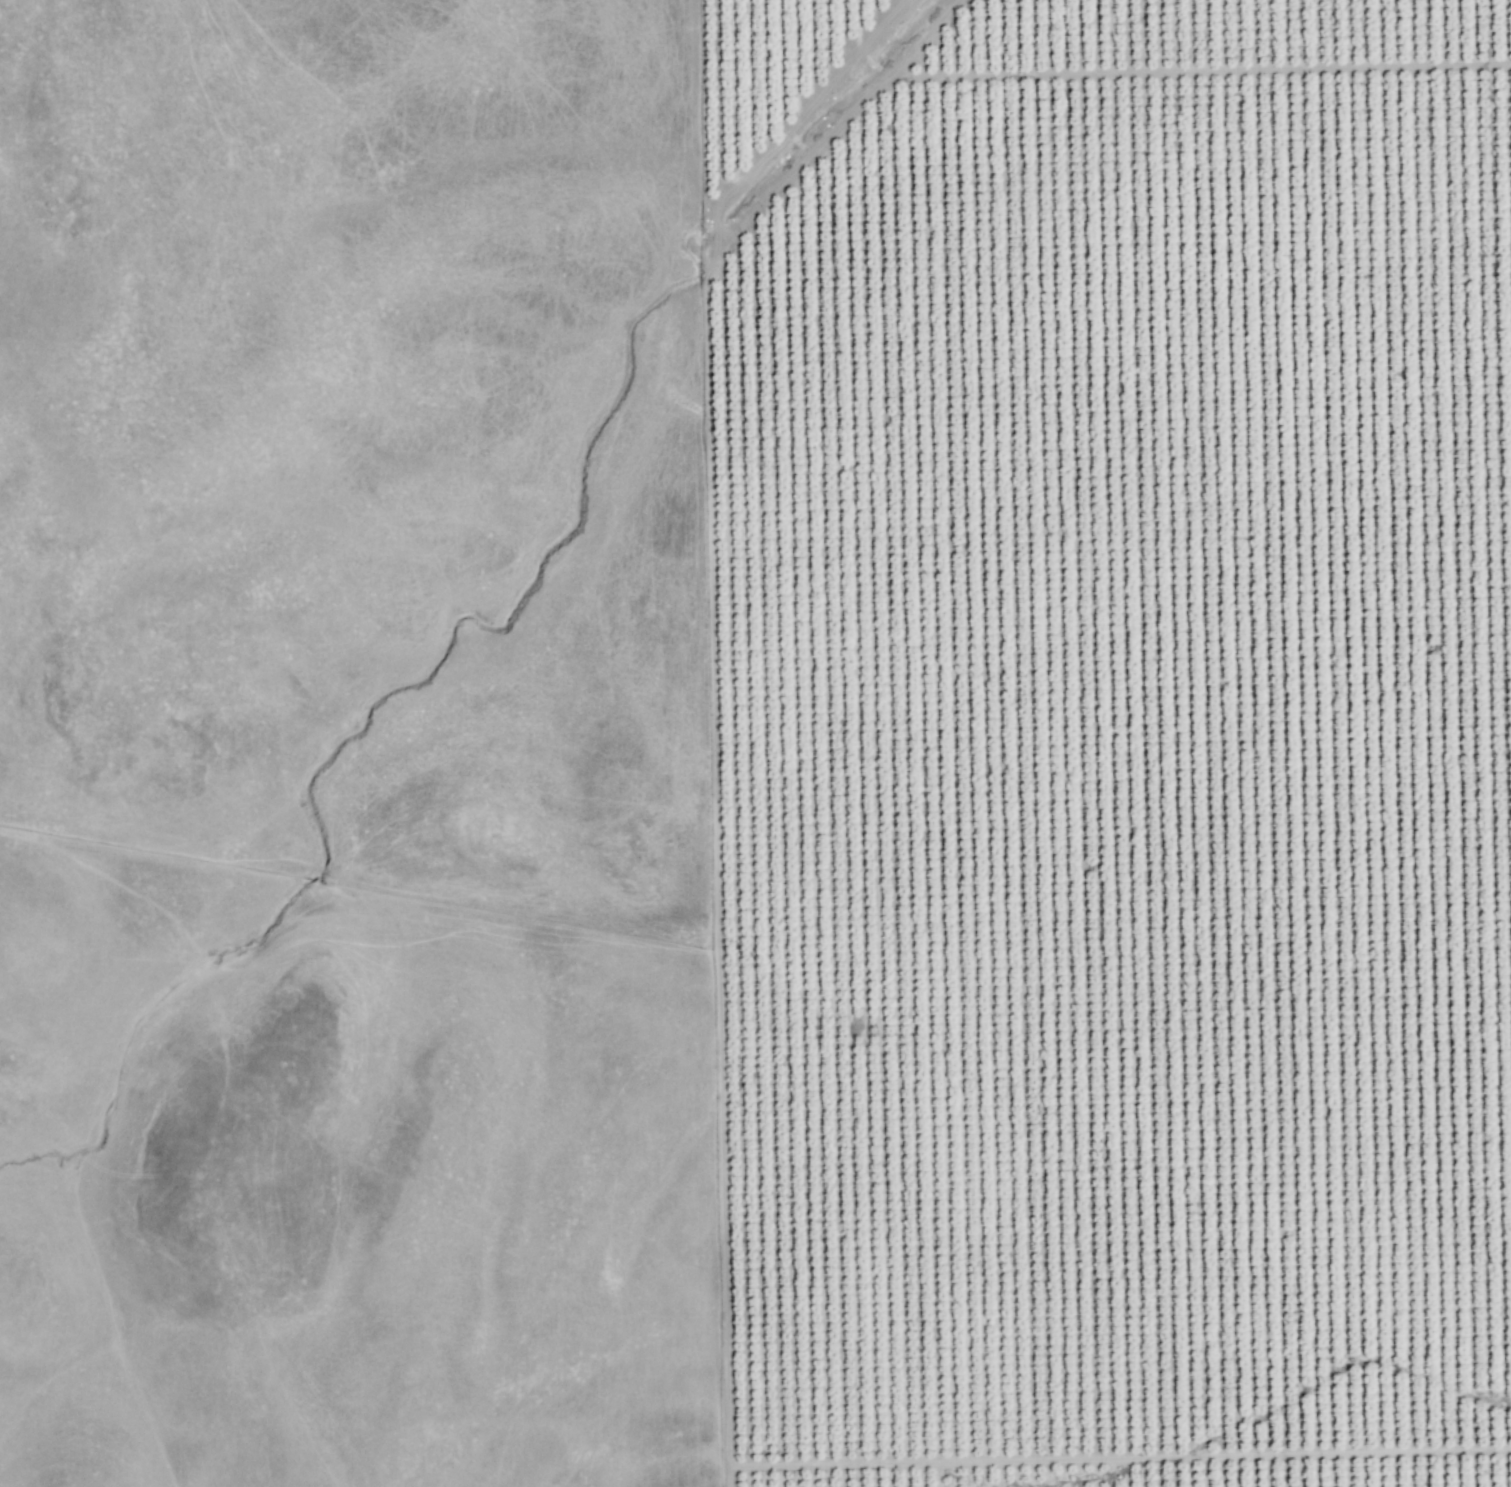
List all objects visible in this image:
road: (712, 682)
road: (1120, 1457)

